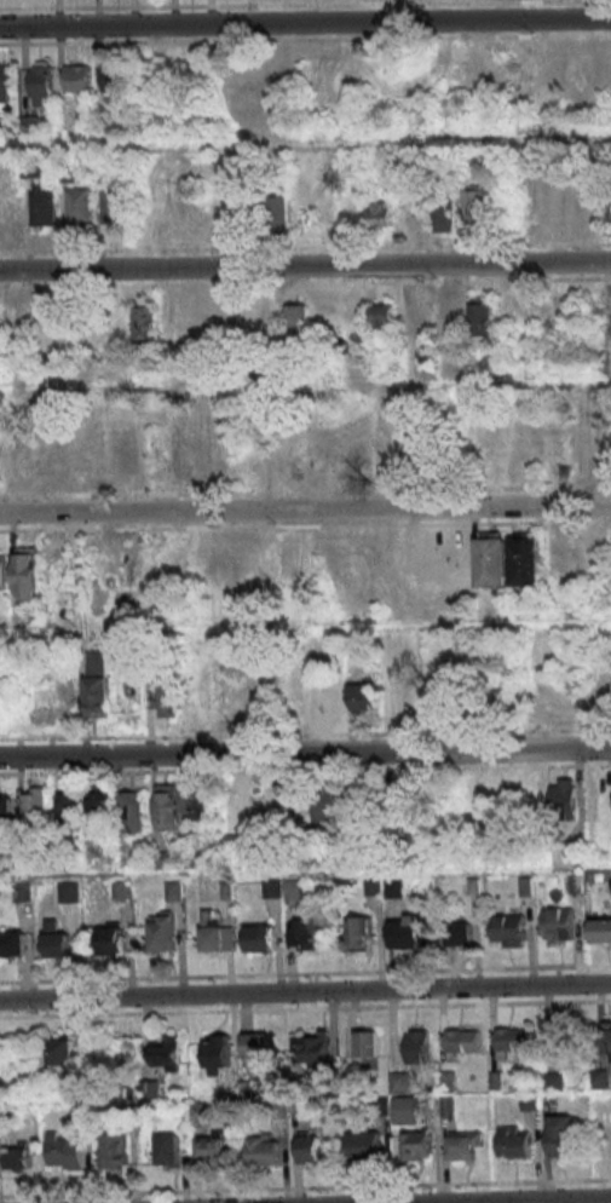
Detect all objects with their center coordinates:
road: (305, 22)
building: (507, 74)
building: (76, 77)
building: (40, 79)
building: (114, 80)
building: (6, 86)
road: (305, 143)
building: (552, 194)
building: (44, 203)
building: (77, 205)
building: (113, 205)
building: (477, 205)
building: (584, 211)
building: (606, 213)
building: (276, 214)
building: (380, 214)
building: (443, 217)
road: (305, 265)
building: (270, 312)
building: (416, 315)
building: (610, 315)
building: (382, 316)
building: (479, 316)
building: (295, 317)
building: (345, 317)
building: (446, 318)
building: (117, 320)
building: (145, 320)
road: (305, 381)
building: (583, 443)
building: (390, 450)
building: (190, 456)
road: (305, 510)
building: (559, 549)
building: (491, 559)
building: (524, 559)
building: (218, 560)
building: (355, 560)
building: (287, 562)
building: (126, 566)
building: (2, 571)
building: (54, 571)
building: (25, 572)
building: (221, 611)
road: (305, 623)
building: (263, 675)
building: (97, 681)
building: (163, 697)
building: (363, 697)
building: (231, 698)
building: (198, 700)
building: (330, 701)
road: (305, 753)
building: (563, 798)
building: (34, 802)
building: (198, 802)
building: (68, 804)
building: (328, 804)
building: (100, 805)
building: (167, 806)
building: (132, 811)
building: (5, 812)
building: (163, 859)
building: (172, 890)
building: (558, 923)
building: (508, 929)
building: (600, 931)
building: (161, 932)
building: (359, 932)
building: (215, 933)
building: (305, 933)
building: (404, 933)
building: (456, 934)
building: (256, 938)
building: (111, 939)
building: (56, 940)
building: (12, 943)
road: (305, 988)
building: (462, 1040)
building: (511, 1041)
building: (560, 1041)
building: (603, 1041)
building: (367, 1043)
building: (416, 1046)
building: (258, 1047)
building: (315, 1049)
building: (217, 1051)
building: (57, 1057)
building: (166, 1057)
building: (4, 1072)
building: (398, 1082)
building: (403, 1110)
building: (560, 1135)
building: (514, 1140)
building: (607, 1142)
building: (463, 1144)
building: (416, 1145)
building: (364, 1146)
building: (311, 1147)
building: (114, 1149)
building: (167, 1149)
building: (212, 1149)
building: (264, 1150)
building: (64, 1151)
building: (17, 1157)
road: (524, 1201)

